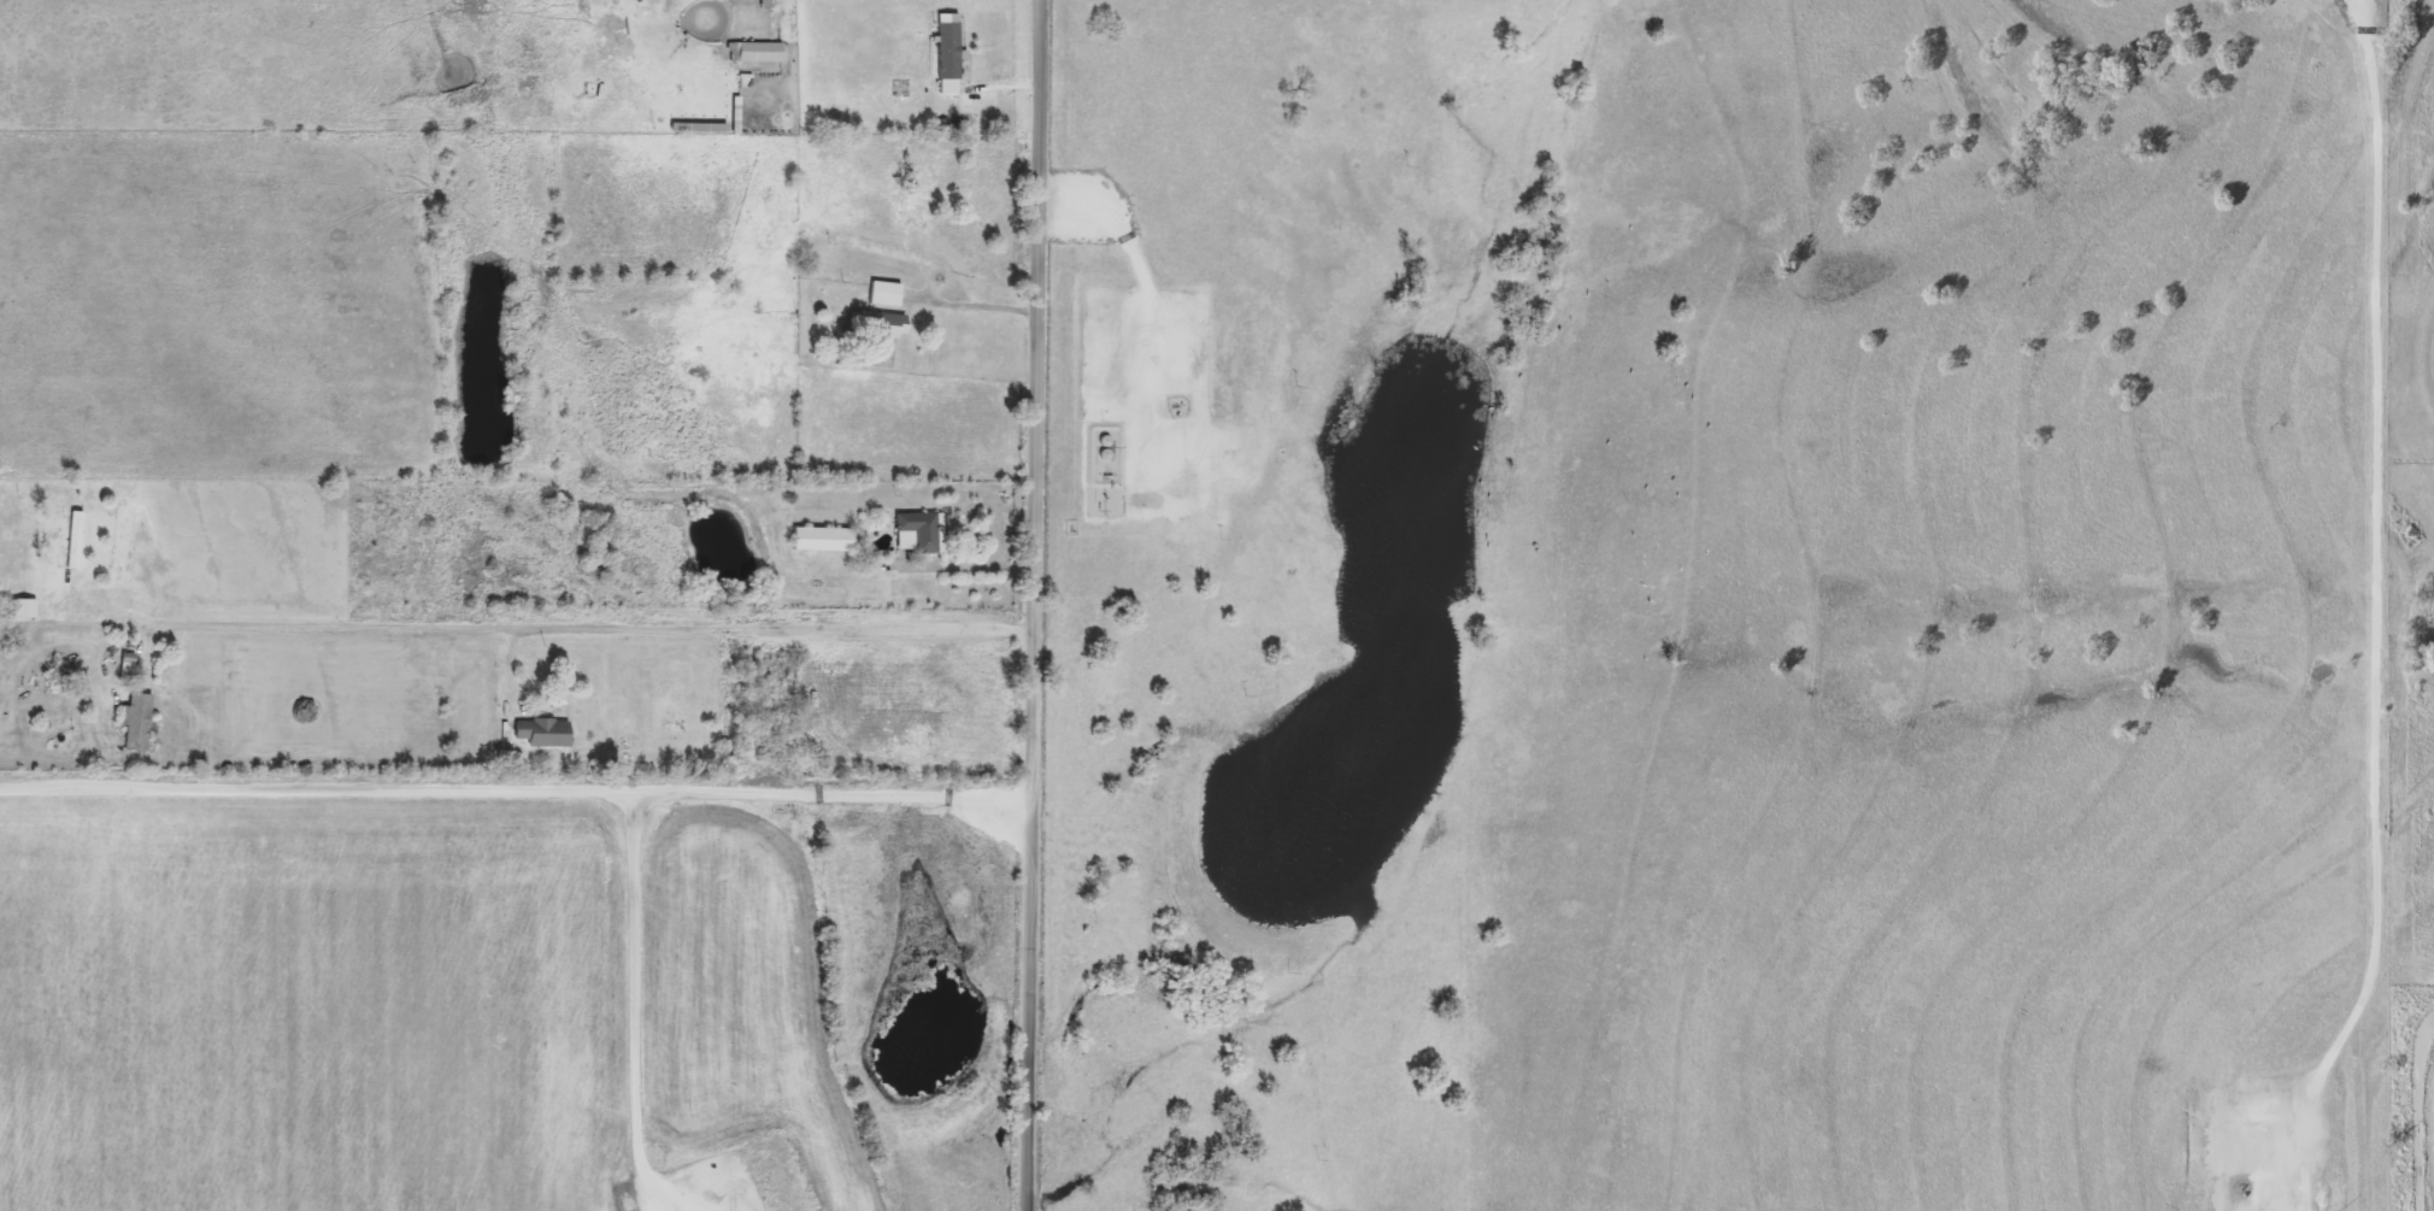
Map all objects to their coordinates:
building: (758, 51)
building: (950, 51)
road: (975, 288)
building: (887, 293)
building: (730, 301)
building: (880, 324)
building: (922, 533)
building: (77, 539)
building: (824, 540)
road: (972, 566)
road: (1040, 605)
building: (27, 609)
road: (594, 645)
building: (139, 722)
building: (545, 733)
road: (518, 786)
road: (636, 907)
road: (2417, 1110)

